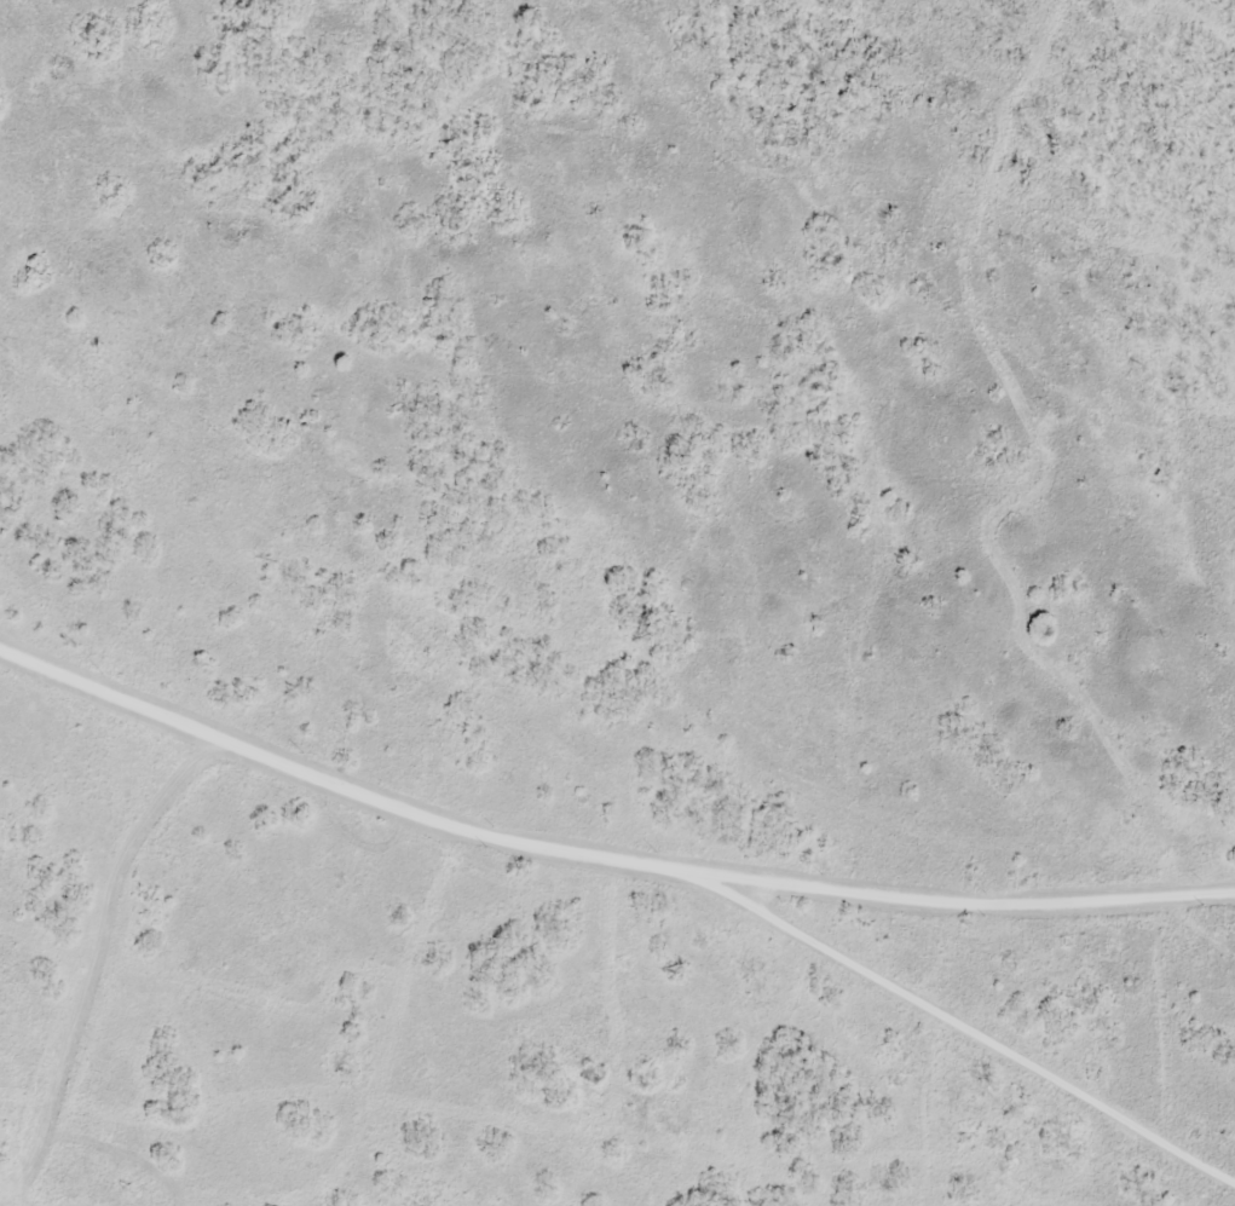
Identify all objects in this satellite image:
road: (600, 860)
road: (956, 1025)

